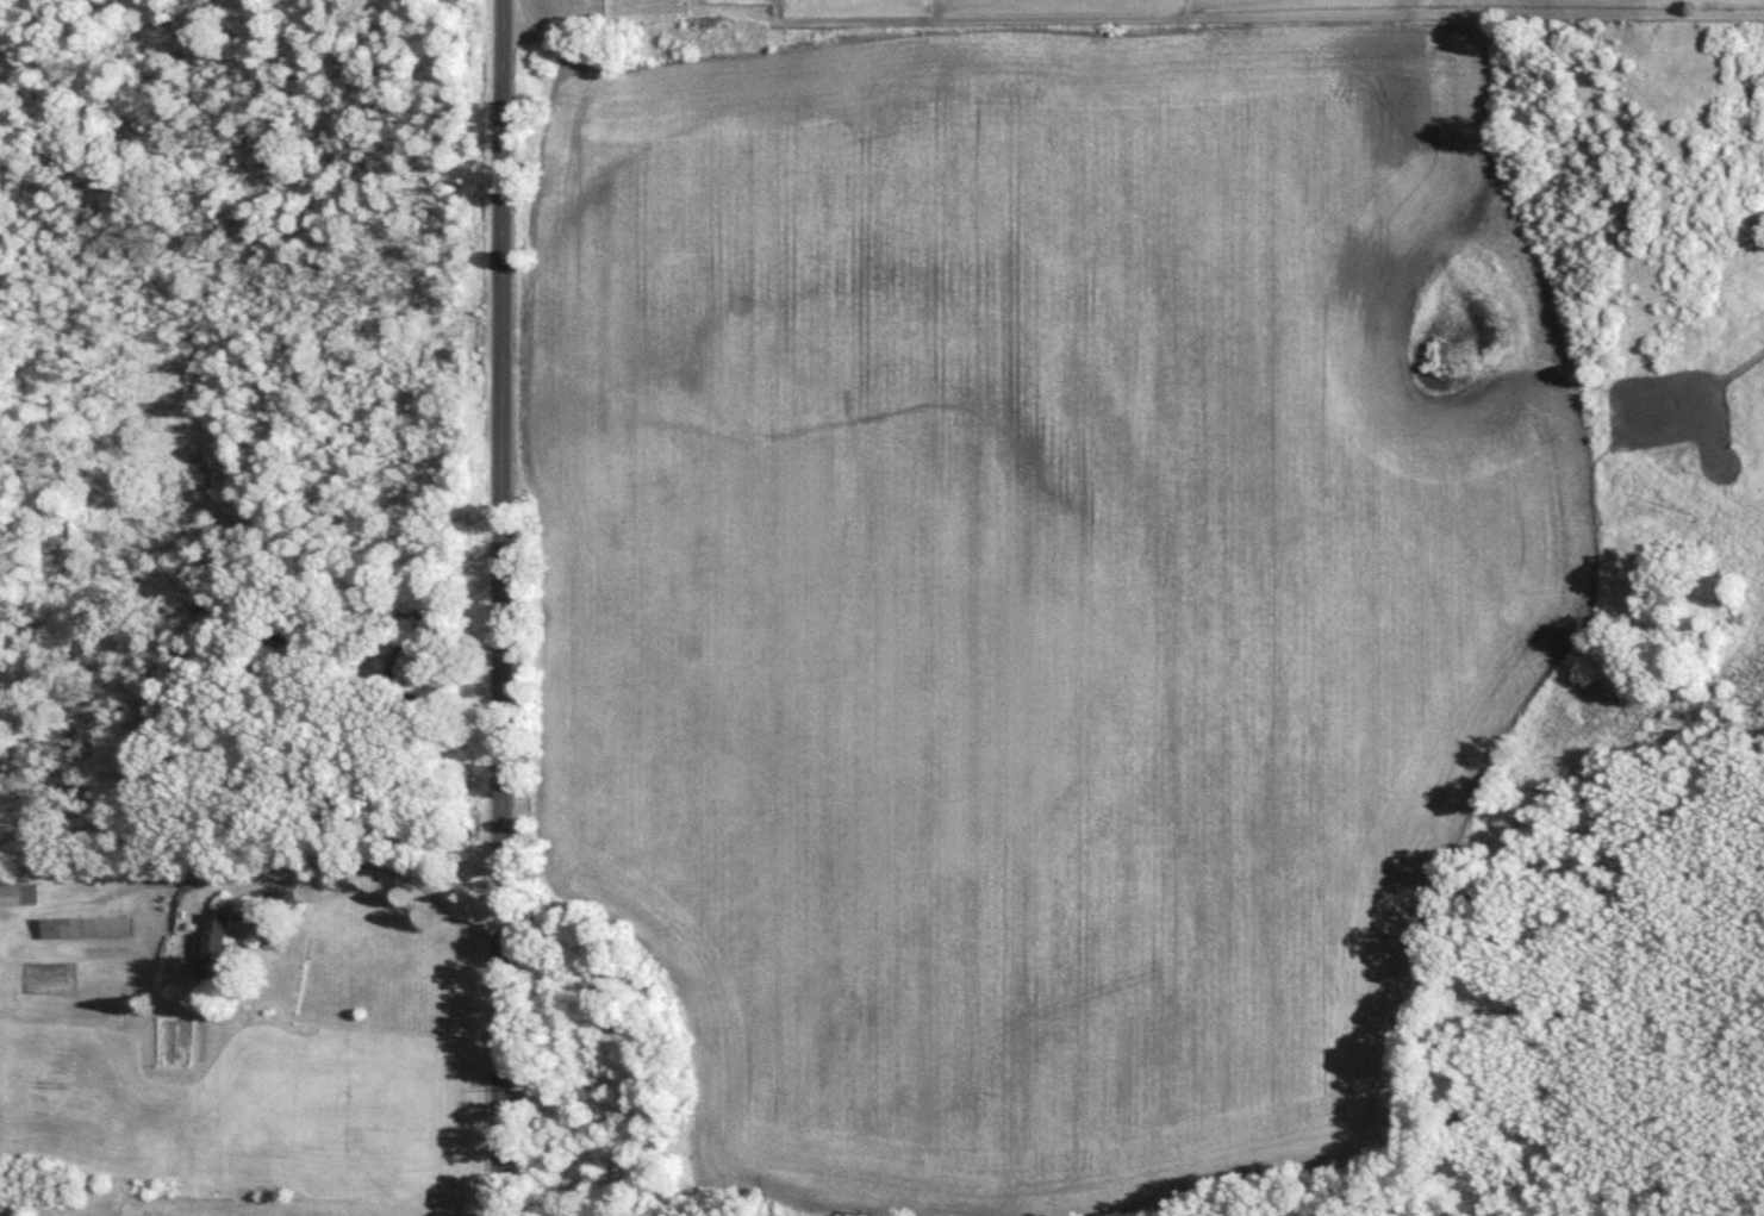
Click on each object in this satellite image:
road: (506, 607)
road: (385, 867)
road: (192, 873)
building: (18, 893)
building: (87, 927)
building: (219, 946)

